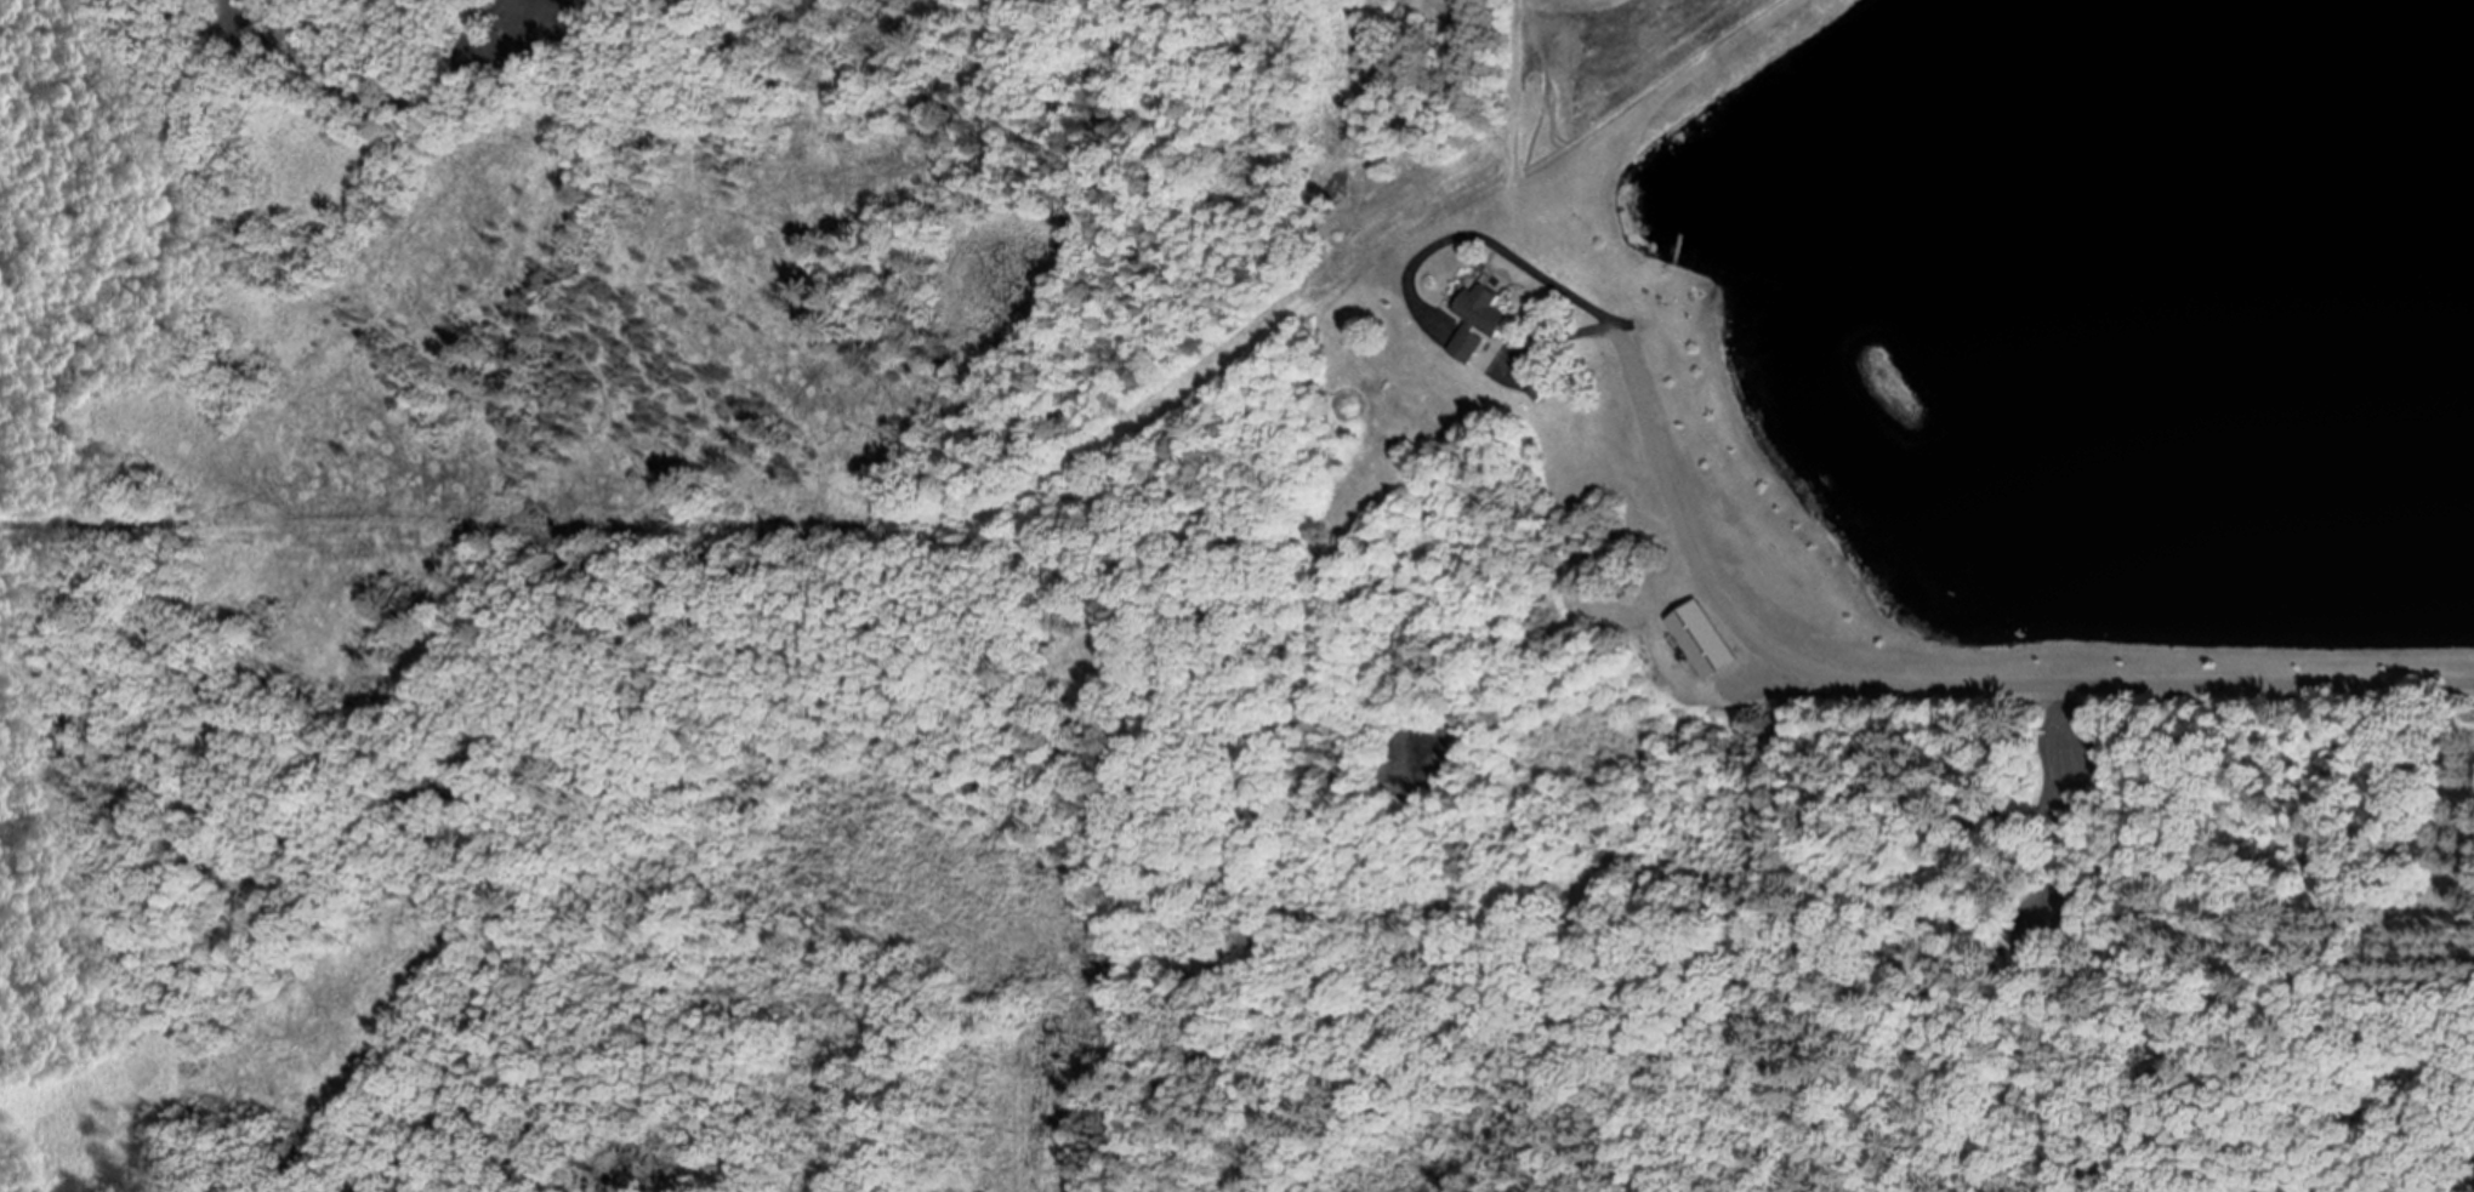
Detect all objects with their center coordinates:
building: (1479, 330)
building: (1701, 639)
road: (1933, 692)

